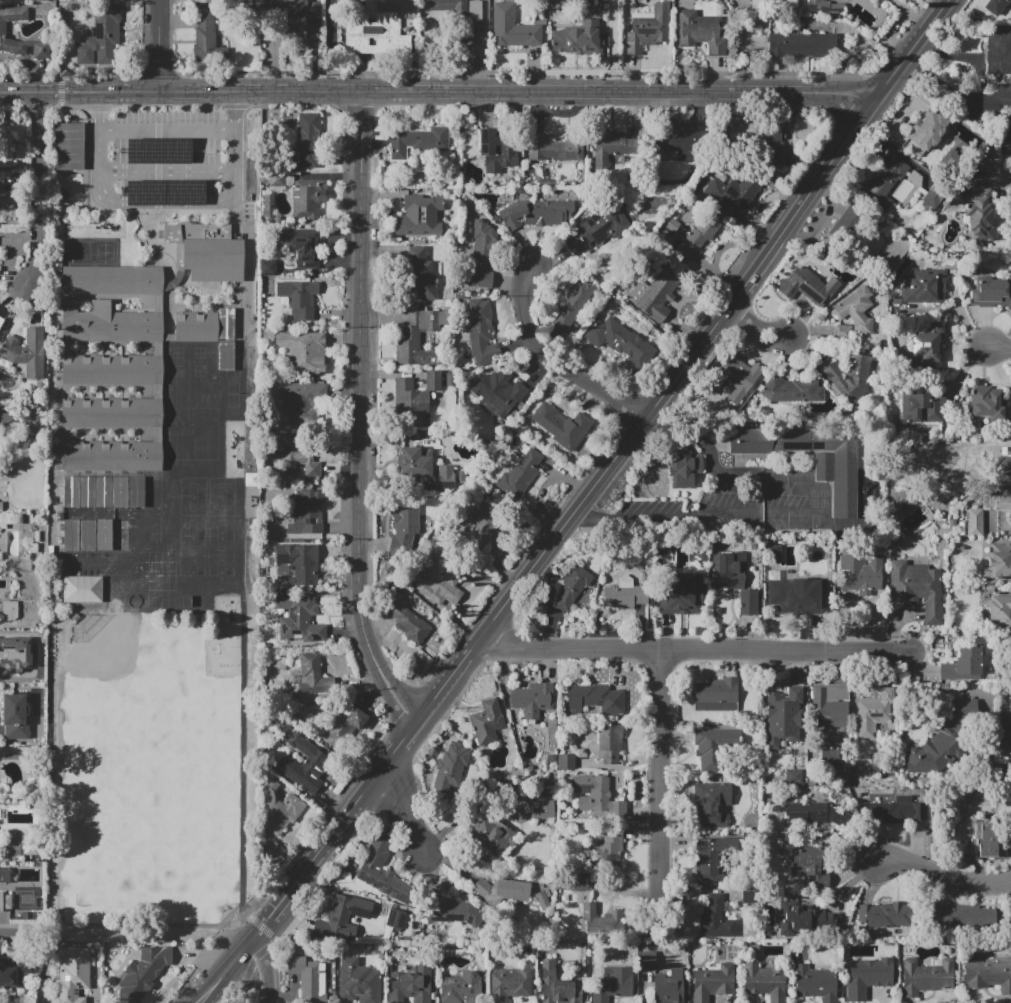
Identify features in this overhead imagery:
building: (570, 0)
building: (208, 1)
building: (997, 6)
building: (824, 7)
building: (292, 9)
building: (459, 10)
road: (911, 13)
building: (514, 28)
building: (649, 28)
building: (3, 29)
building: (310, 31)
building: (702, 31)
road: (891, 34)
building: (375, 35)
building: (101, 38)
building: (577, 38)
building: (208, 40)
road: (157, 45)
road: (331, 45)
building: (802, 45)
road: (611, 46)
road: (741, 46)
building: (998, 51)
road: (484, 72)
road: (438, 91)
building: (996, 99)
road: (168, 129)
building: (925, 132)
building: (309, 140)
building: (418, 141)
building: (70, 145)
building: (680, 145)
building: (5, 146)
building: (611, 147)
building: (556, 148)
building: (772, 148)
building: (158, 150)
parking lot: (166, 151)
building: (497, 151)
road: (167, 172)
building: (276, 179)
road: (993, 180)
building: (885, 181)
road: (36, 189)
building: (144, 192)
building: (184, 192)
building: (732, 195)
building: (931, 198)
building: (307, 199)
road: (167, 201)
building: (7, 202)
road: (157, 203)
building: (536, 213)
parking lot: (249, 214)
building: (981, 215)
building: (419, 216)
building: (847, 220)
building: (596, 224)
road: (246, 236)
building: (698, 237)
building: (302, 245)
building: (207, 251)
building: (482, 255)
building: (269, 267)
building: (419, 276)
building: (112, 280)
building: (807, 285)
building: (924, 288)
building: (991, 291)
building: (654, 296)
building: (298, 298)
building: (572, 303)
building: (857, 310)
building: (0, 322)
building: (108, 323)
building: (225, 323)
building: (195, 326)
road: (754, 329)
building: (479, 331)
building: (842, 331)
building: (419, 337)
building: (620, 341)
building: (927, 348)
road: (1001, 349)
building: (303, 351)
building: (26, 352)
road: (551, 360)
building: (112, 370)
building: (851, 373)
building: (735, 378)
road: (359, 384)
building: (791, 390)
building: (499, 392)
building: (414, 394)
building: (302, 401)
building: (987, 404)
building: (922, 408)
building: (112, 413)
building: (7, 422)
building: (551, 424)
building: (1010, 446)
building: (111, 456)
building: (296, 456)
building: (1004, 463)
building: (421, 465)
building: (835, 467)
building: (686, 469)
building: (519, 472)
road: (603, 473)
park: (193, 487)
park: (222, 487)
building: (71, 492)
building: (87, 492)
building: (103, 492)
building: (120, 492)
building: (136, 492)
building: (899, 499)
building: (1004, 502)
road: (798, 512)
building: (307, 513)
park: (193, 515)
park: (222, 516)
building: (8, 519)
building: (973, 522)
building: (406, 524)
building: (481, 525)
building: (103, 534)
building: (119, 534)
building: (71, 535)
building: (87, 535)
building: (773, 553)
park: (193, 556)
park: (222, 556)
building: (1000, 559)
building: (300, 561)
building: (861, 567)
building: (733, 579)
building: (439, 581)
building: (572, 585)
building: (916, 588)
building: (82, 589)
building: (681, 593)
building: (625, 594)
building: (795, 594)
building: (999, 609)
building: (9, 611)
building: (299, 619)
building: (408, 623)
building: (12, 646)
park: (105, 646)
road: (694, 650)
building: (962, 665)
building: (313, 675)
road: (403, 694)
building: (716, 695)
building: (595, 698)
building: (532, 699)
building: (830, 699)
road: (392, 705)
building: (873, 711)
building: (353, 716)
building: (15, 717)
building: (783, 717)
park: (159, 720)
building: (487, 720)
building: (832, 723)
building: (945, 739)
building: (610, 743)
building: (713, 745)
building: (305, 747)
building: (830, 757)
building: (551, 759)
building: (566, 762)
building: (450, 768)
road: (1005, 771)
building: (793, 777)
road: (660, 791)
building: (596, 795)
building: (710, 800)
building: (280, 809)
building: (542, 809)
park: (157, 810)
building: (894, 810)
road: (406, 812)
building: (814, 813)
building: (492, 835)
building: (985, 841)
building: (606, 850)
building: (711, 858)
building: (812, 862)
road: (242, 867)
road: (942, 873)
building: (381, 876)
park: (149, 882)
building: (577, 882)
building: (501, 890)
building: (748, 896)
building: (5, 901)
building: (446, 910)
building: (865, 914)
building: (344, 915)
building: (897, 916)
building: (961, 916)
building: (395, 919)
building: (601, 919)
building: (715, 919)
building: (807, 919)
road: (254, 922)
road: (13, 933)
building: (647, 961)
building: (15, 969)
road: (266, 970)
building: (141, 972)
road: (228, 972)
building: (988, 975)
building: (71, 976)
building: (867, 976)
building: (926, 976)
building: (309, 977)
road: (252, 980)
building: (713, 981)
building: (765, 981)
building: (358, 982)
building: (510, 983)
building: (613, 983)
building: (816, 983)
building: (411, 985)
building: (558, 986)
building: (669, 987)
building: (460, 988)

